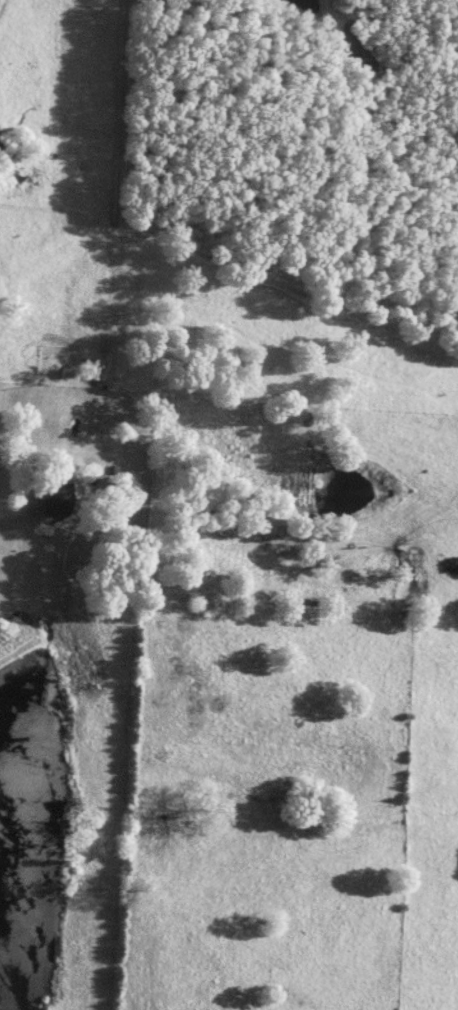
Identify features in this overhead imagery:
building: (56, 498)
road: (16, 518)

